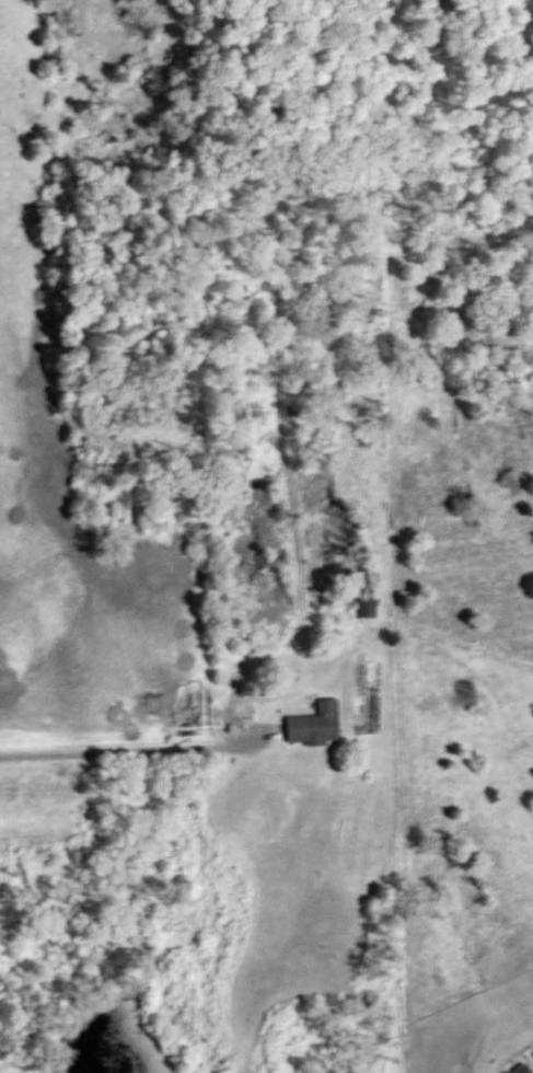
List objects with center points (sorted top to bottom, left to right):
building: (366, 602)
building: (314, 725)
road: (121, 748)
building: (521, 1069)

